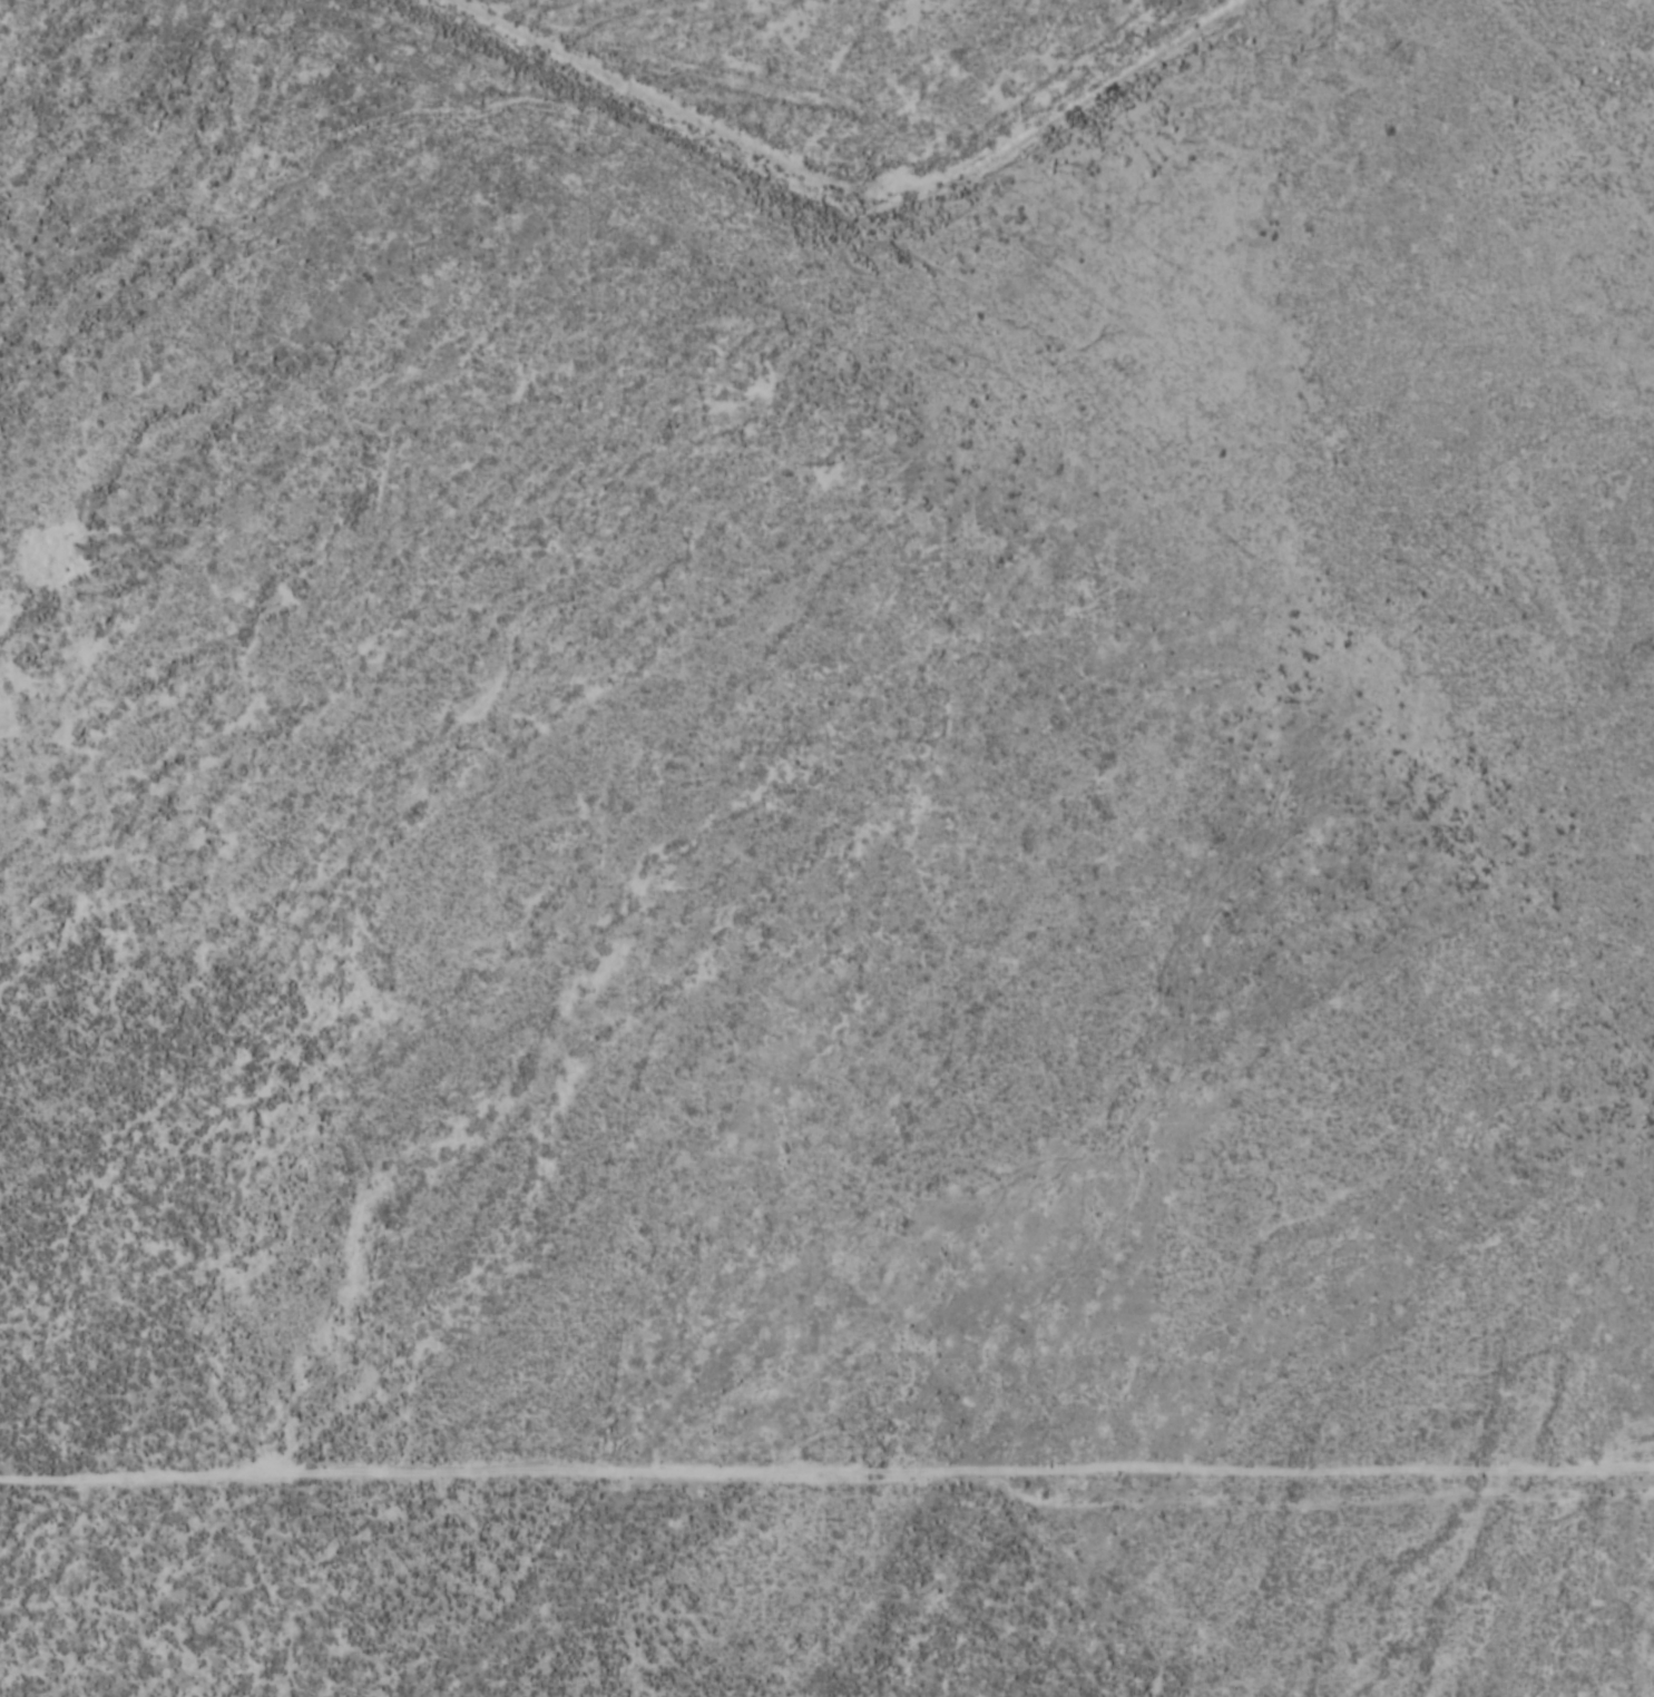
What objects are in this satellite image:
crop: (826, 848)

